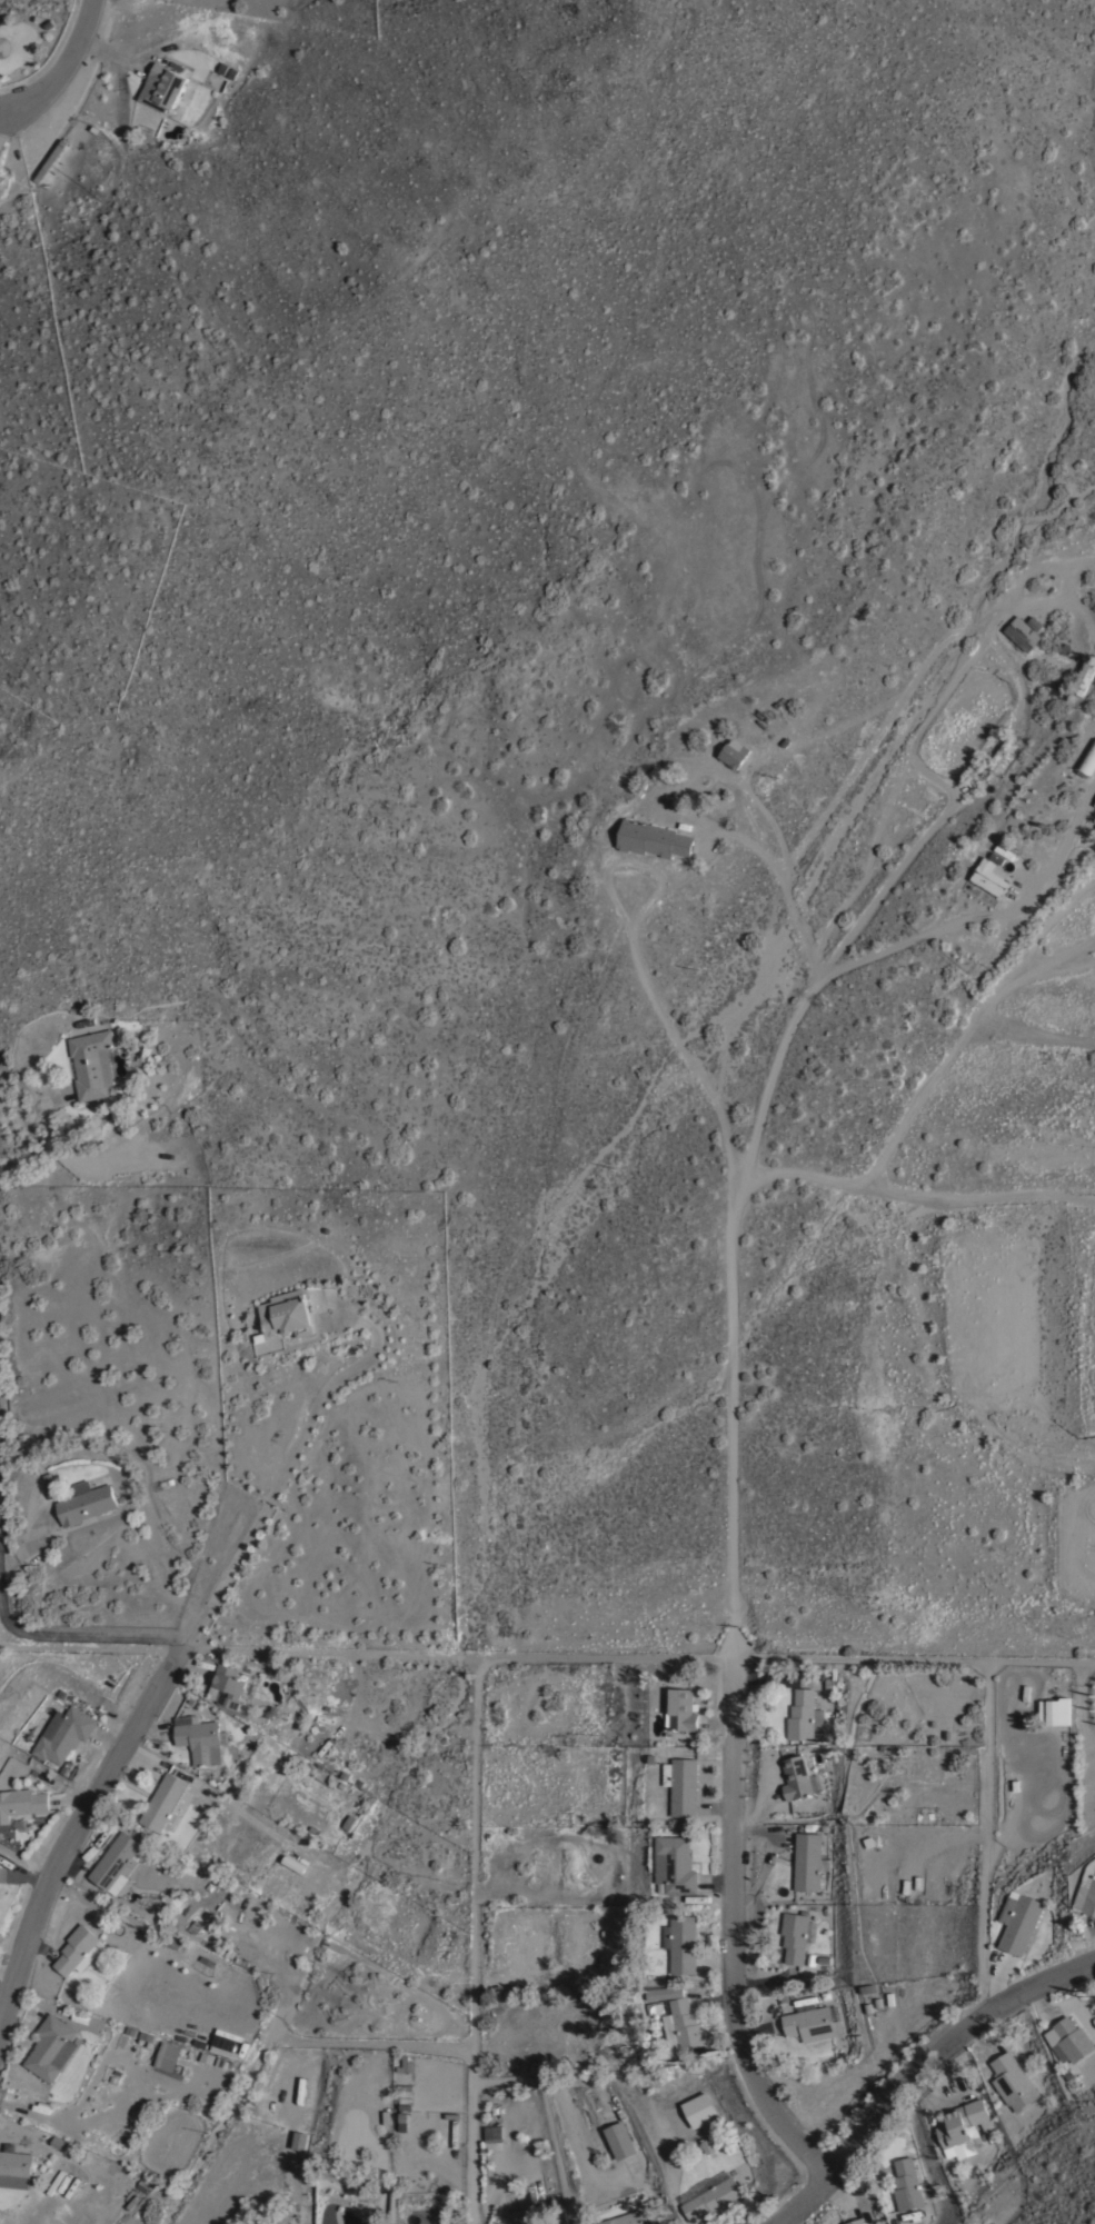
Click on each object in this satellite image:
road: (63, 66)
building: (162, 86)
building: (1022, 632)
building: (1083, 676)
road: (915, 682)
building: (734, 751)
building: (997, 755)
building: (1087, 759)
building: (1094, 802)
building: (653, 838)
road: (773, 860)
building: (989, 875)
road: (863, 877)
road: (886, 882)
road: (638, 966)
road: (967, 1027)
building: (92, 1061)
road: (758, 1119)
road: (44, 1143)
road: (910, 1198)
building: (286, 1313)
road: (291, 1445)
building: (84, 1502)
road: (79, 1625)
road: (507, 1657)
road: (770, 1678)
building: (231, 1685)
building: (681, 1709)
building: (1054, 1712)
building: (805, 1715)
building: (66, 1732)
building: (200, 1738)
building: (796, 1777)
building: (681, 1784)
building: (21, 1802)
building: (167, 1802)
road: (78, 1809)
road: (755, 1827)
building: (808, 1861)
building: (118, 1863)
building: (675, 1864)
building: (298, 1866)
building: (1091, 1898)
road: (729, 1915)
building: (1019, 1919)
road: (1094, 1922)
building: (797, 1934)
building: (681, 1944)
building: (220, 1947)
building: (76, 1948)
road: (717, 1963)
road: (998, 1977)
road: (761, 1978)
building: (660, 1991)
road: (1041, 2002)
building: (812, 2023)
building: (684, 2025)
building: (229, 2034)
building: (1072, 2040)
building: (51, 2046)
building: (223, 2050)
building: (167, 2055)
building: (406, 2064)
road: (916, 2066)
building: (1013, 2081)
building: (700, 2111)
building: (677, 2120)
building: (402, 2121)
building: (963, 2126)
building: (455, 2132)
building: (492, 2133)
building: (619, 2138)
building: (299, 2140)
building: (708, 2144)
building: (16, 2168)
building: (906, 2183)
building: (715, 2196)
road: (836, 2196)
building: (630, 2218)
road: (787, 2220)
building: (855, 2221)

